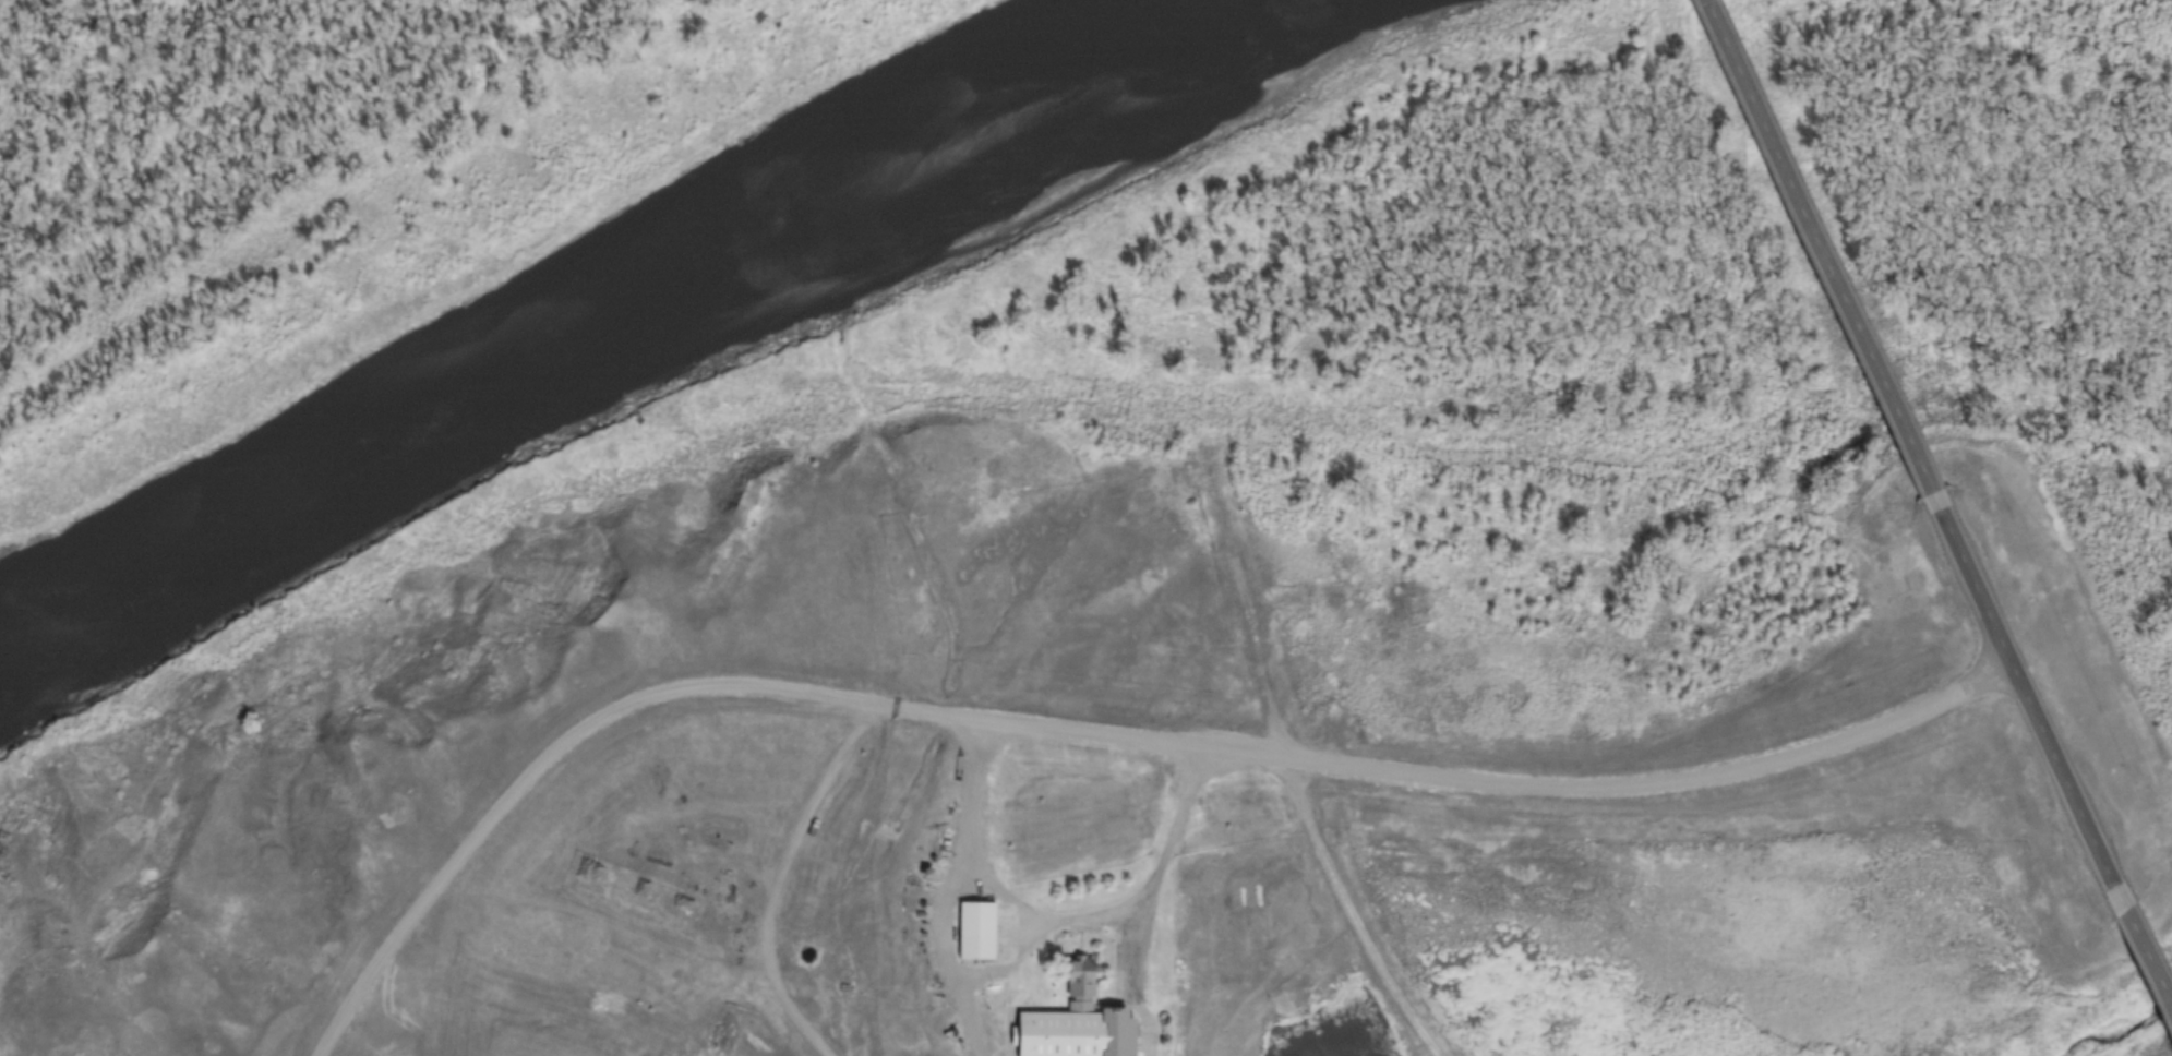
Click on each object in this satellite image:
road: (1817, 268)
river: (564, 312)
road: (2030, 725)
road: (1094, 731)
road: (940, 887)
road: (1135, 896)
road: (1345, 913)
road: (1034, 914)
building: (2157, 951)
road: (2144, 974)
building: (1081, 979)
river: (2120, 1024)
building: (1063, 1033)

